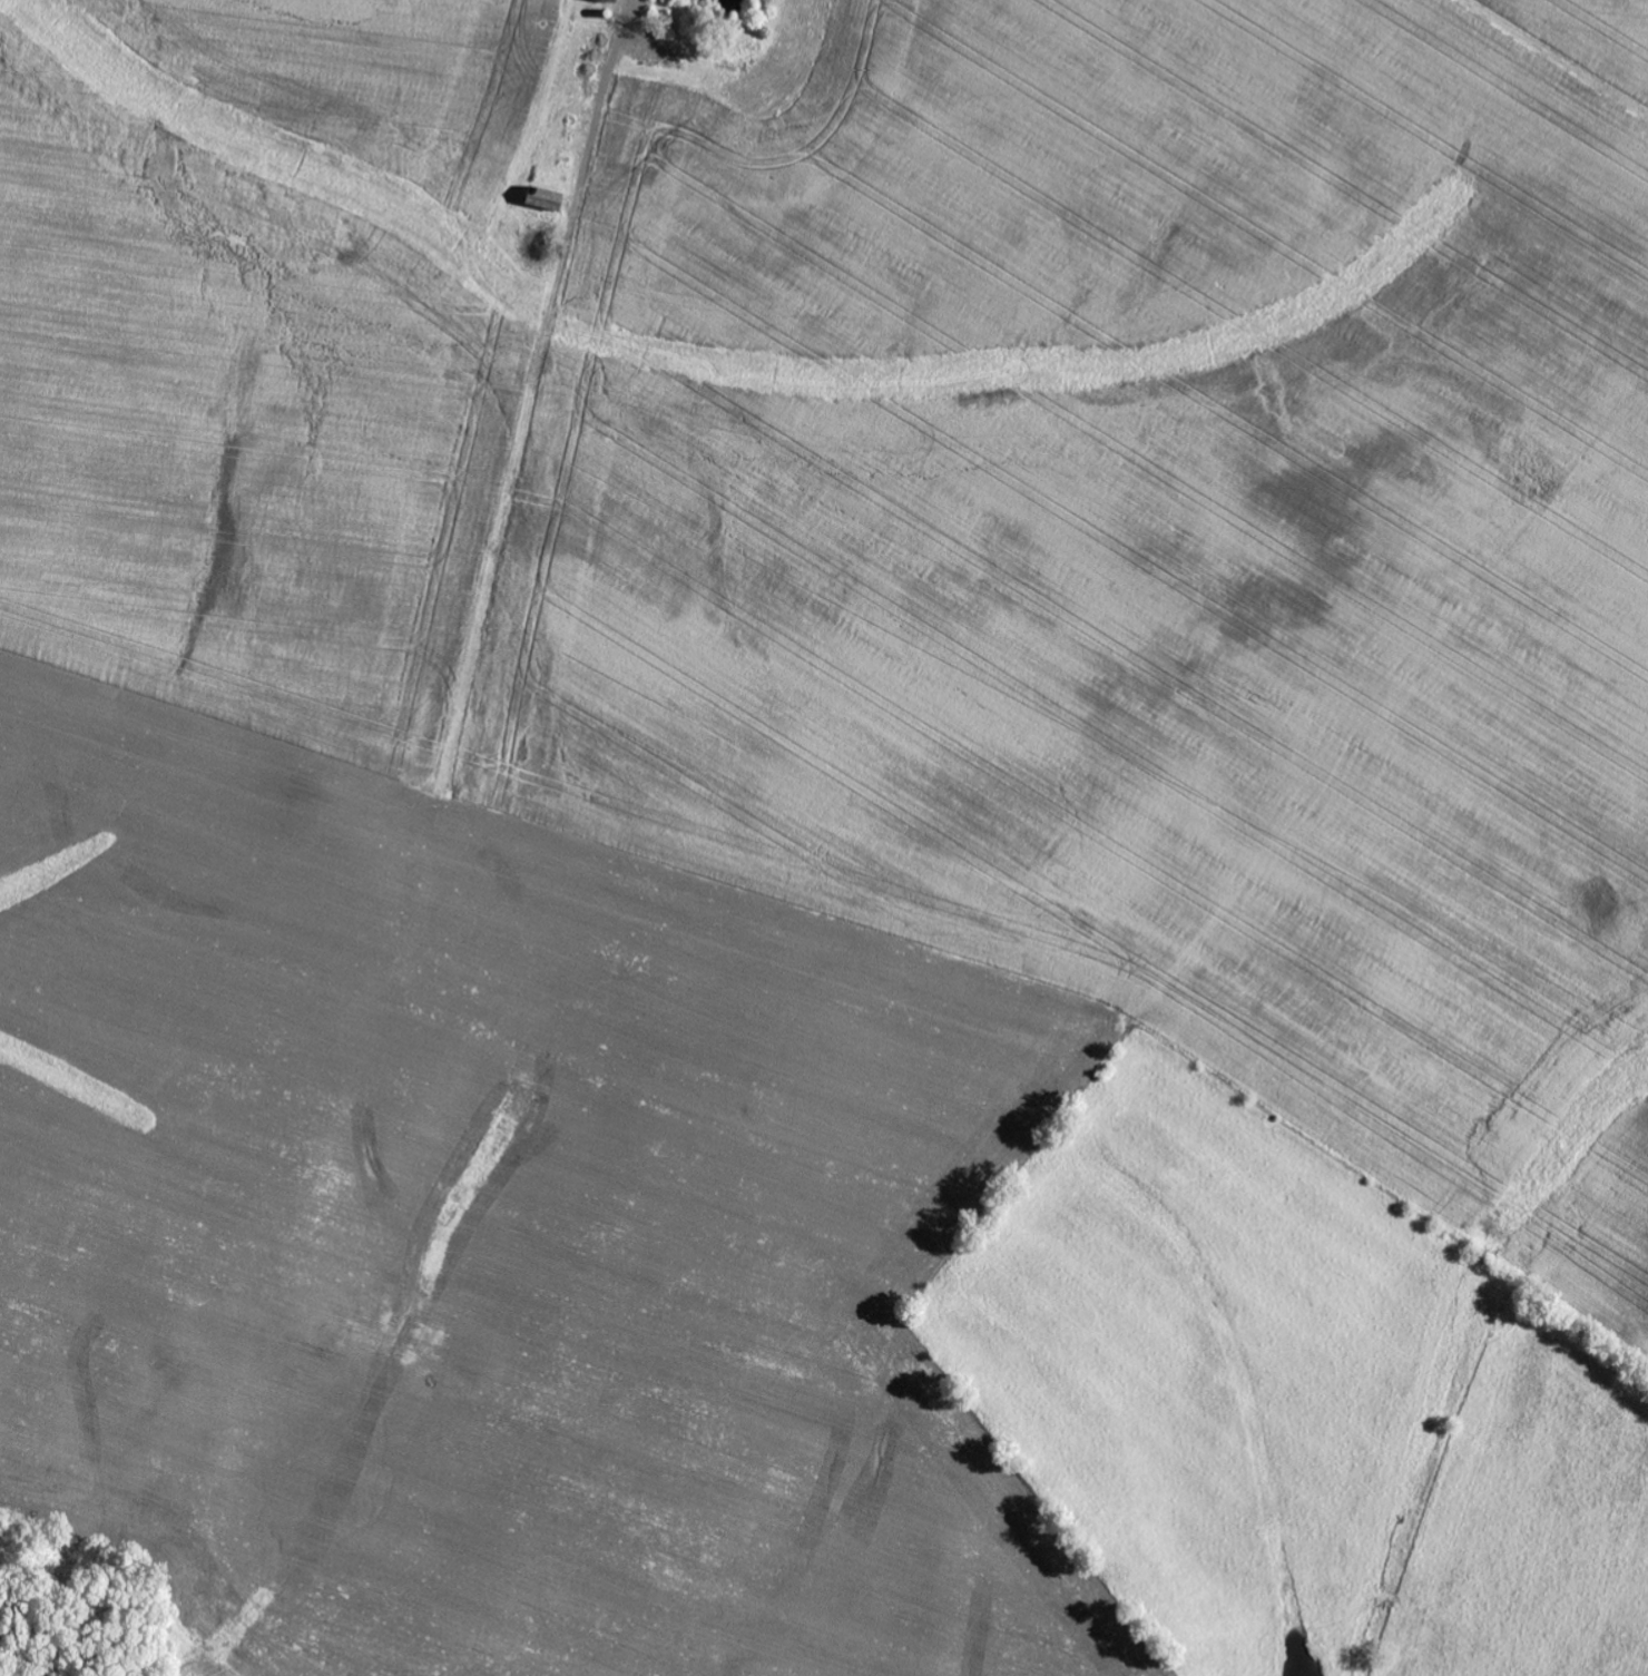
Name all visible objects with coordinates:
building: (606, 1)
building: (540, 198)
road: (463, 586)

